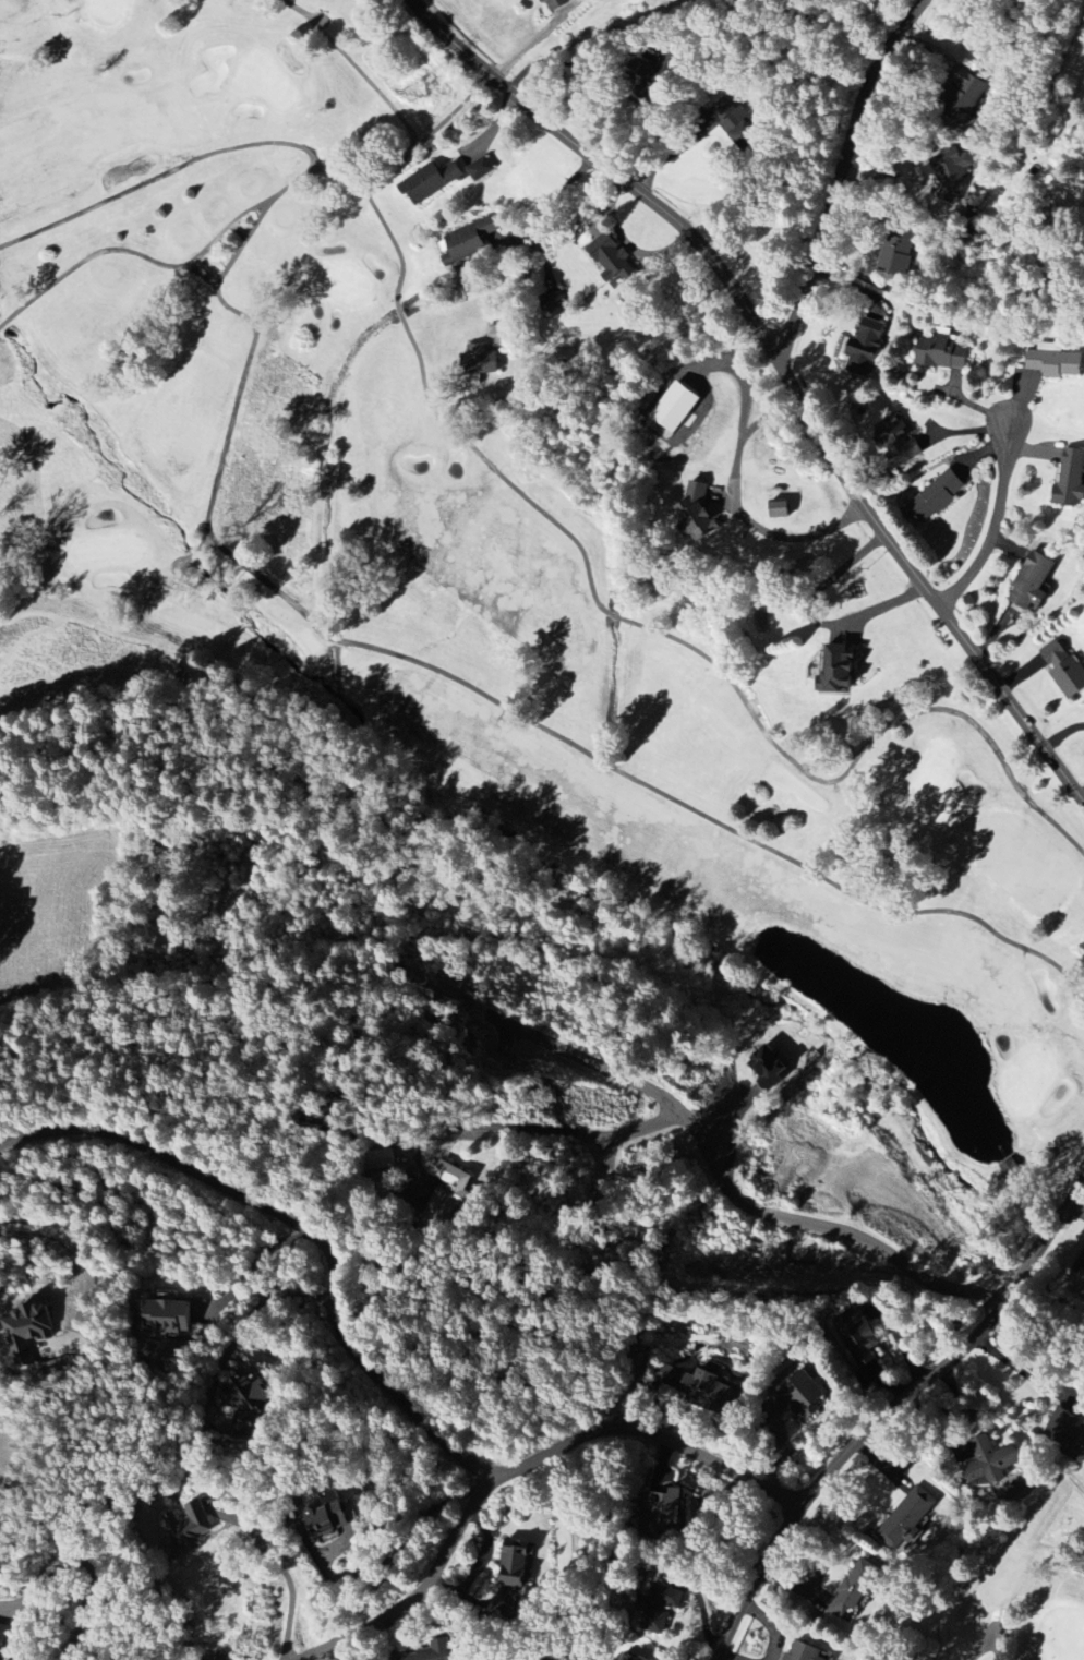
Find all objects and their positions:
building: (581, 1)
building: (556, 4)
power tower: (415, 93)
building: (964, 101)
building: (744, 136)
road: (671, 155)
road: (900, 168)
building: (481, 170)
road: (840, 175)
building: (432, 184)
road: (538, 233)
building: (470, 242)
building: (900, 253)
building: (612, 261)
building: (554, 305)
building: (865, 349)
building: (480, 362)
building: (1056, 364)
road: (784, 369)
building: (898, 441)
building: (1071, 480)
building: (938, 496)
road: (992, 504)
building: (780, 510)
building: (699, 514)
road: (796, 534)
park: (468, 551)
building: (1033, 582)
building: (1064, 669)
building: (839, 671)
building: (767, 1070)
building: (1010, 1169)
road: (728, 1184)
building: (448, 1190)
road: (1079, 1206)
road: (301, 1229)
road: (83, 1256)
road: (251, 1272)
building: (167, 1316)
building: (27, 1332)
building: (858, 1338)
road: (1022, 1370)
building: (698, 1387)
building: (248, 1392)
building: (802, 1396)
road: (887, 1412)
building: (1065, 1434)
building: (990, 1463)
road: (518, 1468)
building: (665, 1509)
building: (327, 1519)
building: (906, 1519)
building: (189, 1526)
road: (406, 1539)
road: (88, 1560)
building: (515, 1563)
road: (282, 1568)
park: (1029, 1587)
building: (854, 1589)
building: (660, 1604)
building: (1, 1633)
road: (990, 1647)
building: (435, 1653)

